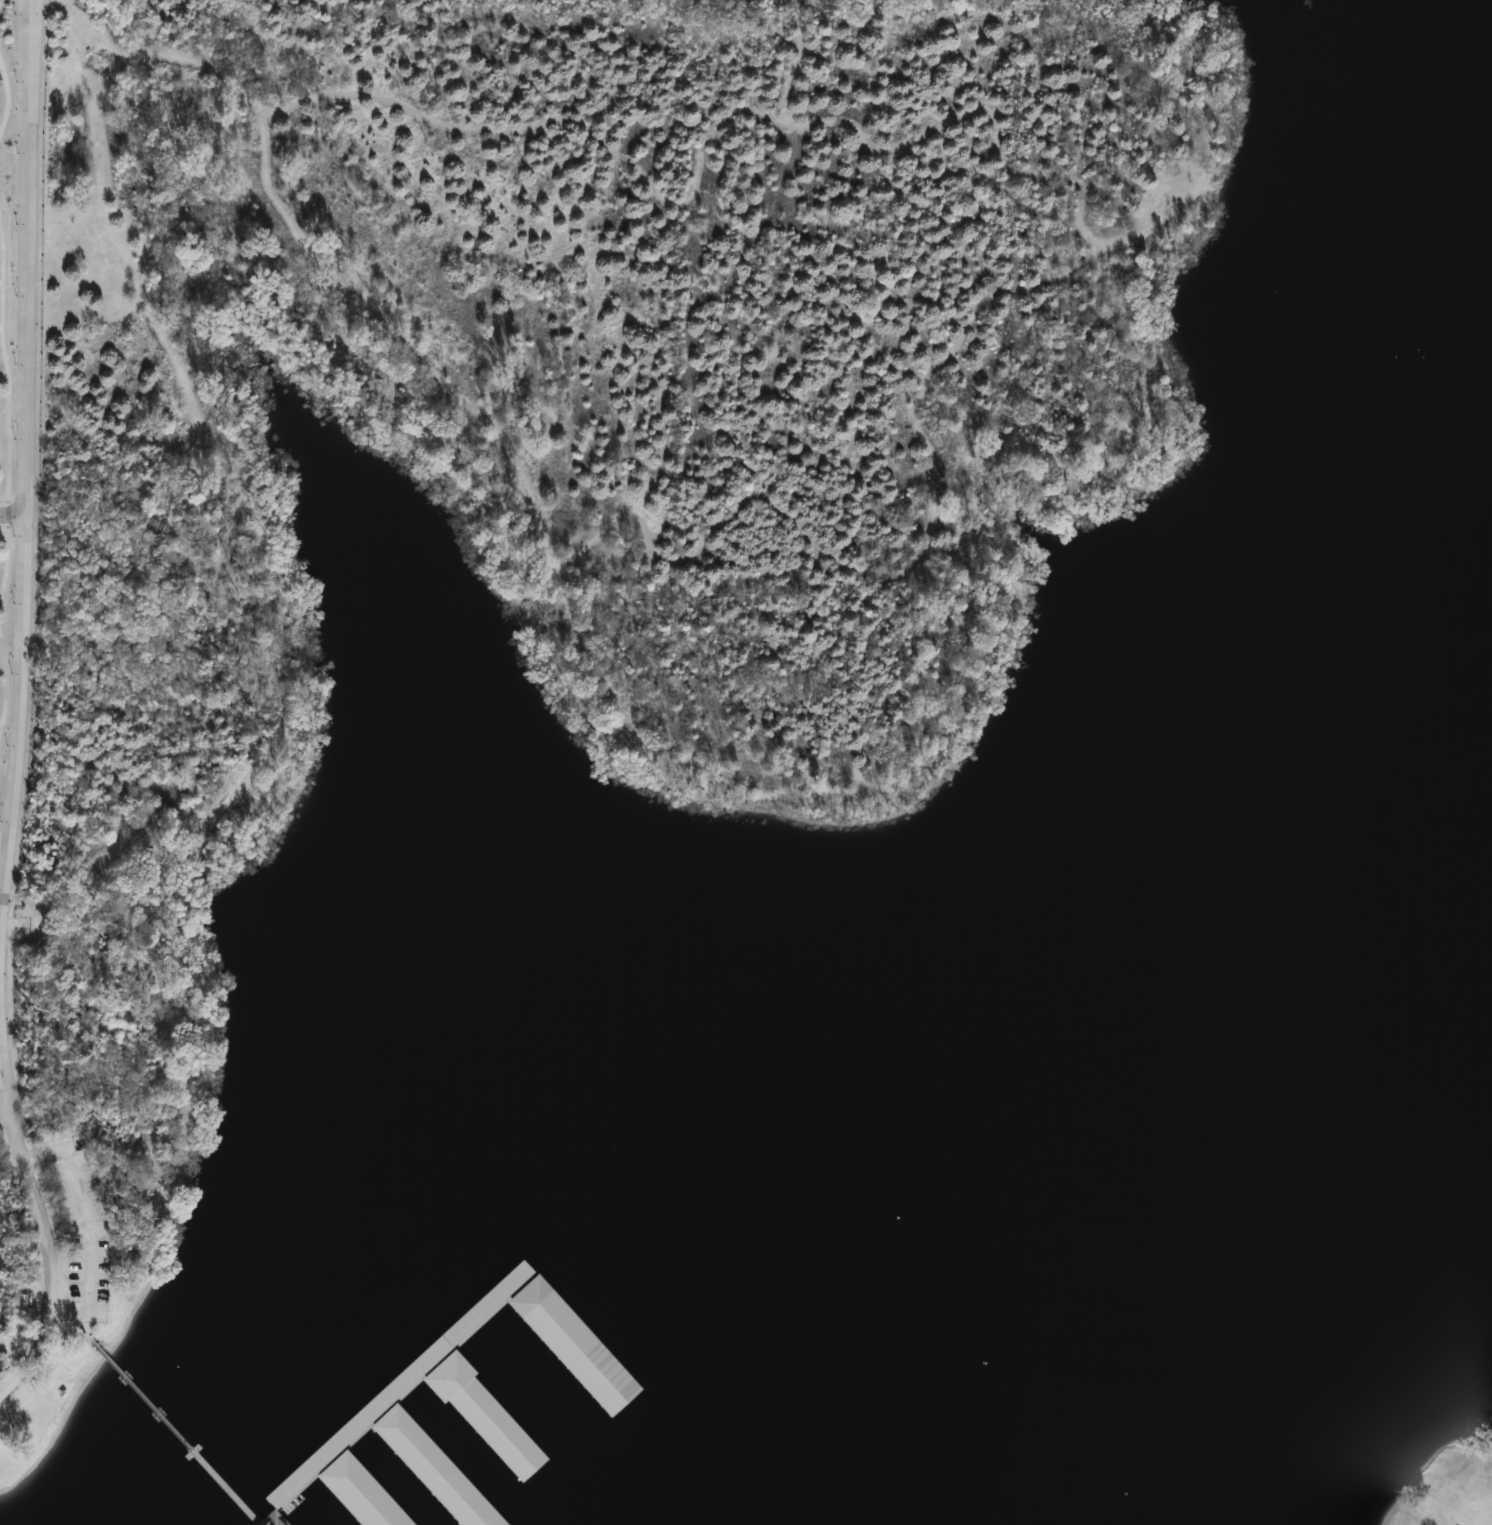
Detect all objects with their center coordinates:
road: (28, 257)
building: (1465, 398)
road: (13, 513)
street lamp: (12, 673)
street lamp: (9, 746)
street lamp: (2, 822)
road: (3, 845)
road: (0, 963)
road: (1, 1059)
street lamp: (56, 1162)
road: (89, 1228)
building: (485, 1418)
building: (426, 1464)
building: (360, 1494)
building: (274, 1520)

